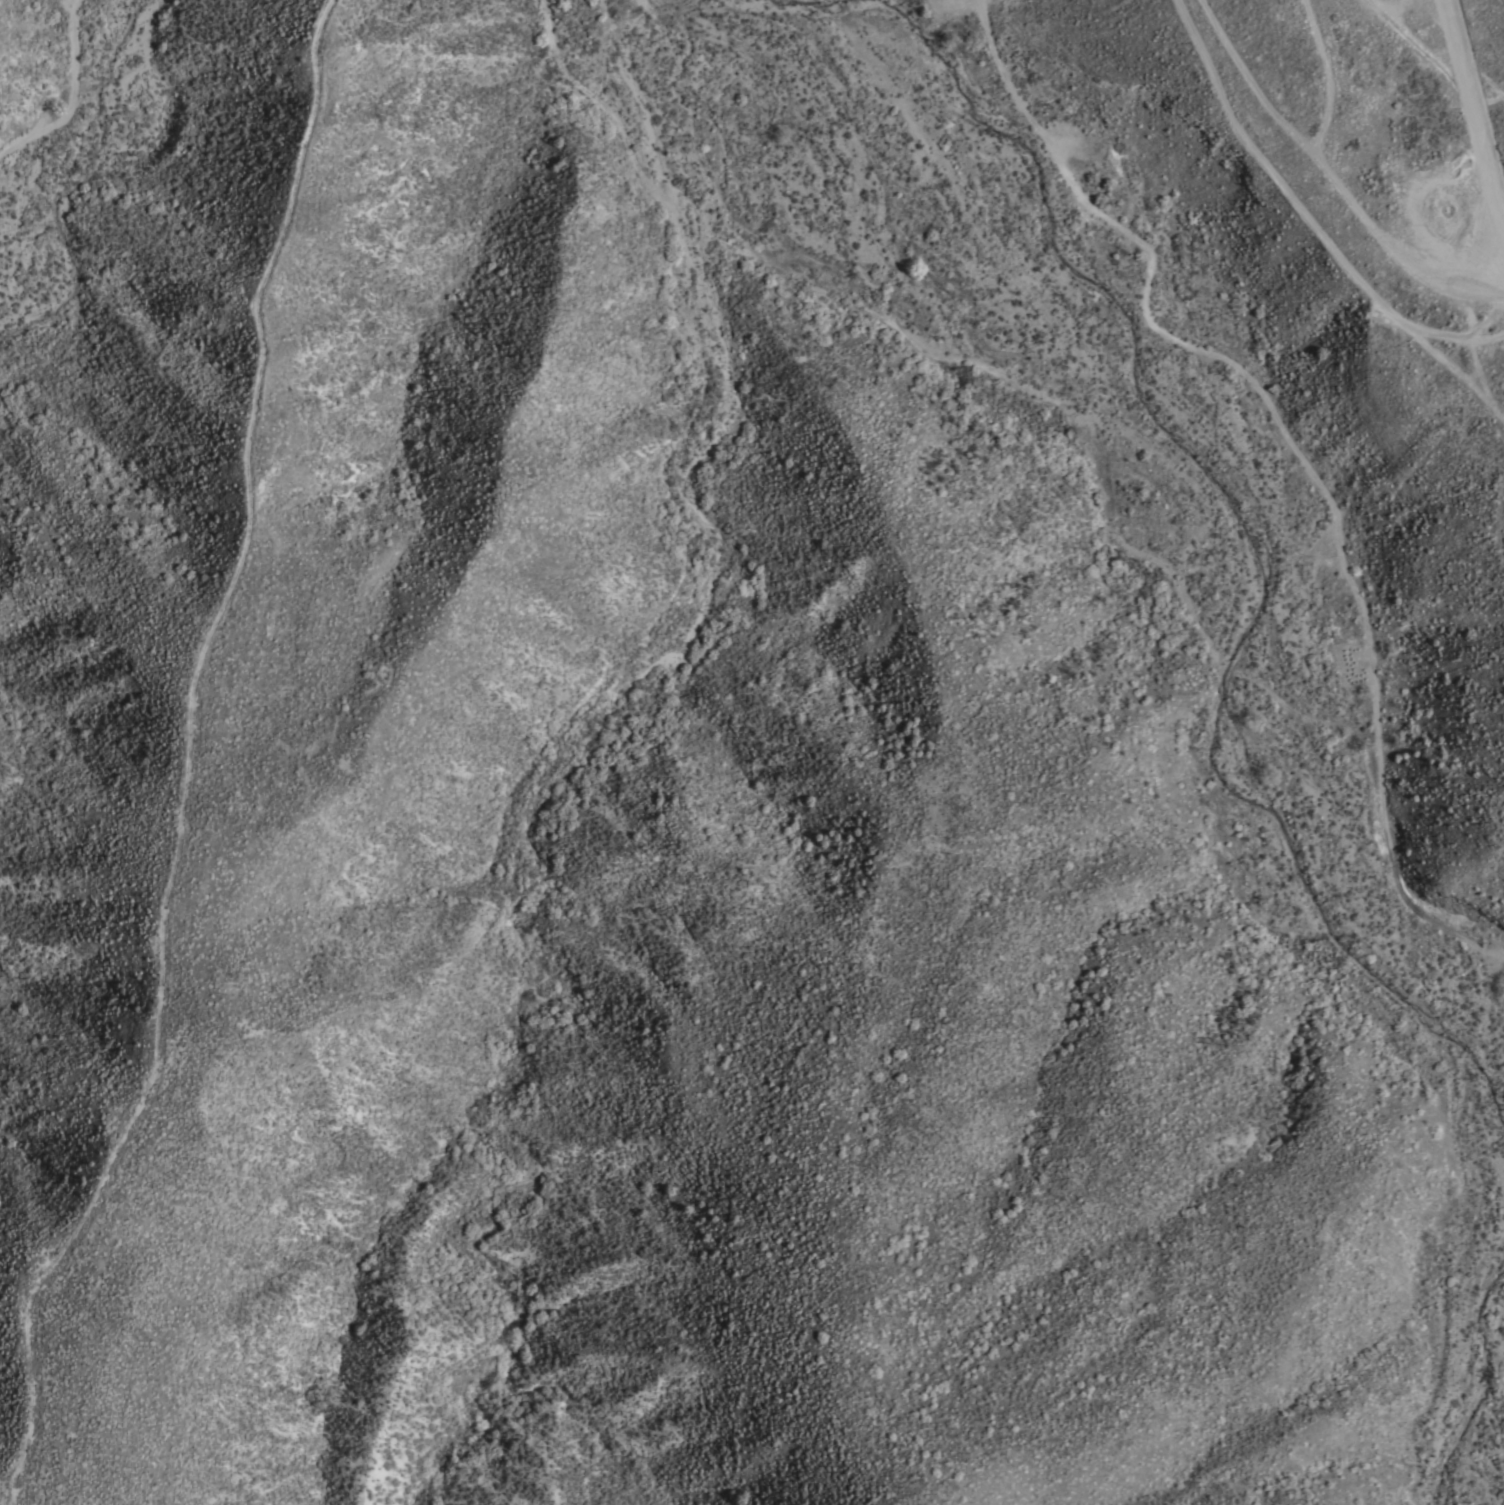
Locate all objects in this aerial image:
road: (1400, 10)
road: (1329, 77)
road: (70, 93)
road: (1465, 97)
road: (1487, 100)
road: (1330, 178)
road: (1303, 214)
road: (1297, 449)

